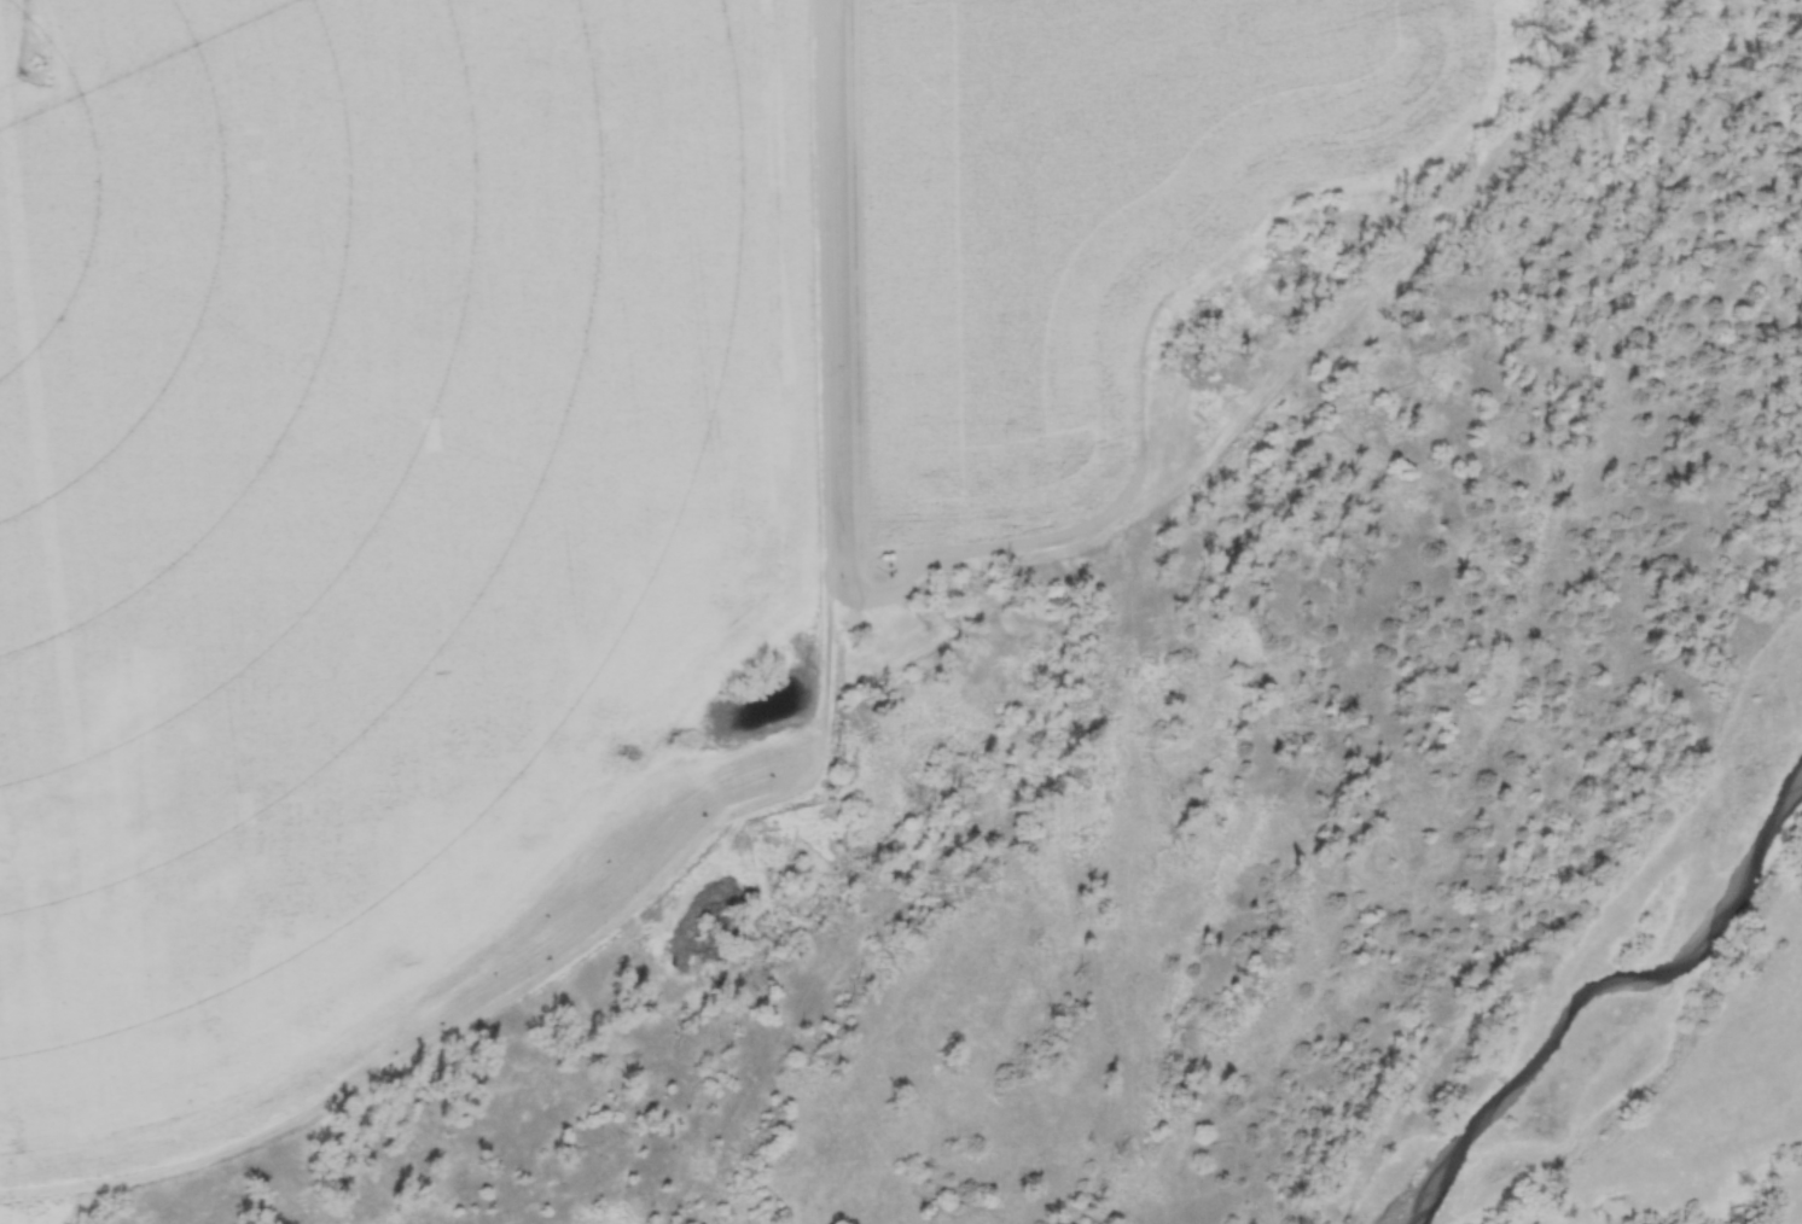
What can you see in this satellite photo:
river: (1597, 992)

